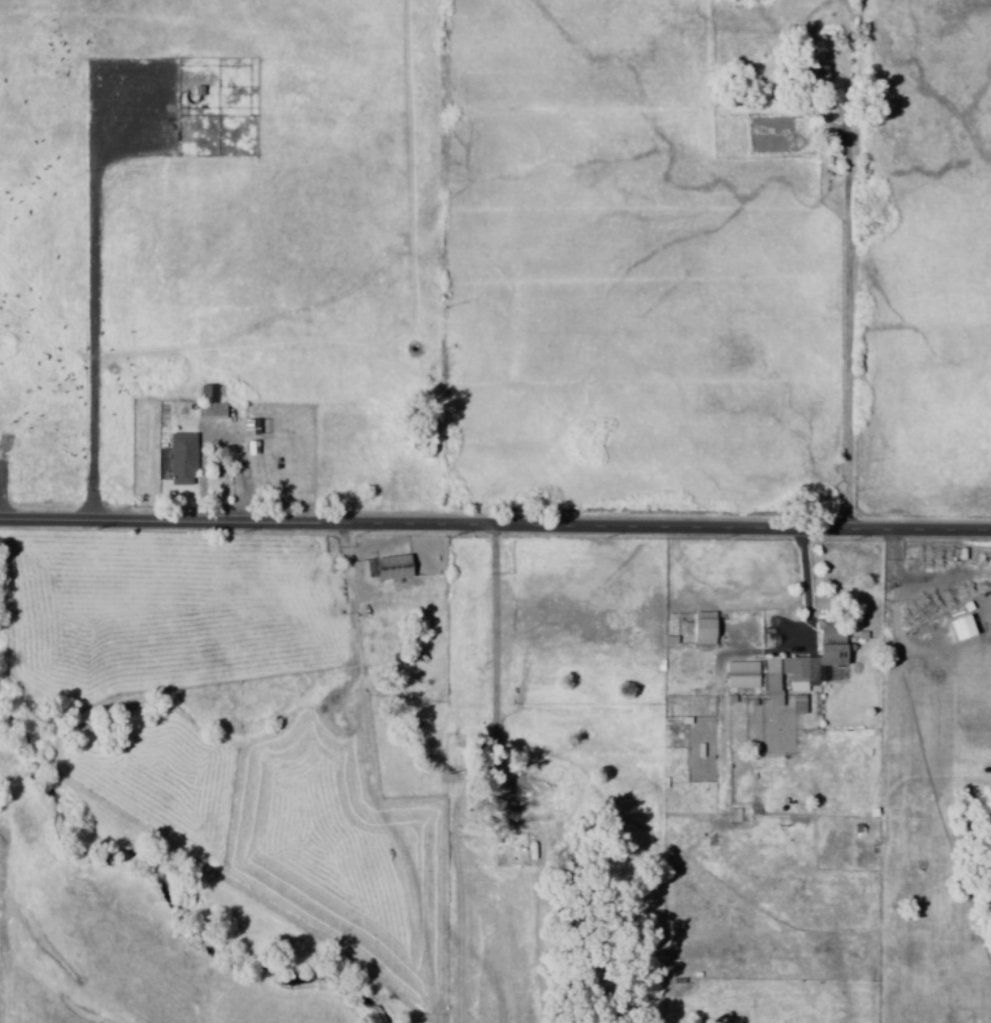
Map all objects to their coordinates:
building: (817, 75)
building: (211, 405)
building: (184, 458)
road: (495, 526)
building: (379, 568)
building: (699, 628)
building: (814, 659)
building: (740, 675)
building: (771, 680)
building: (797, 704)
building: (505, 810)
building: (732, 815)

